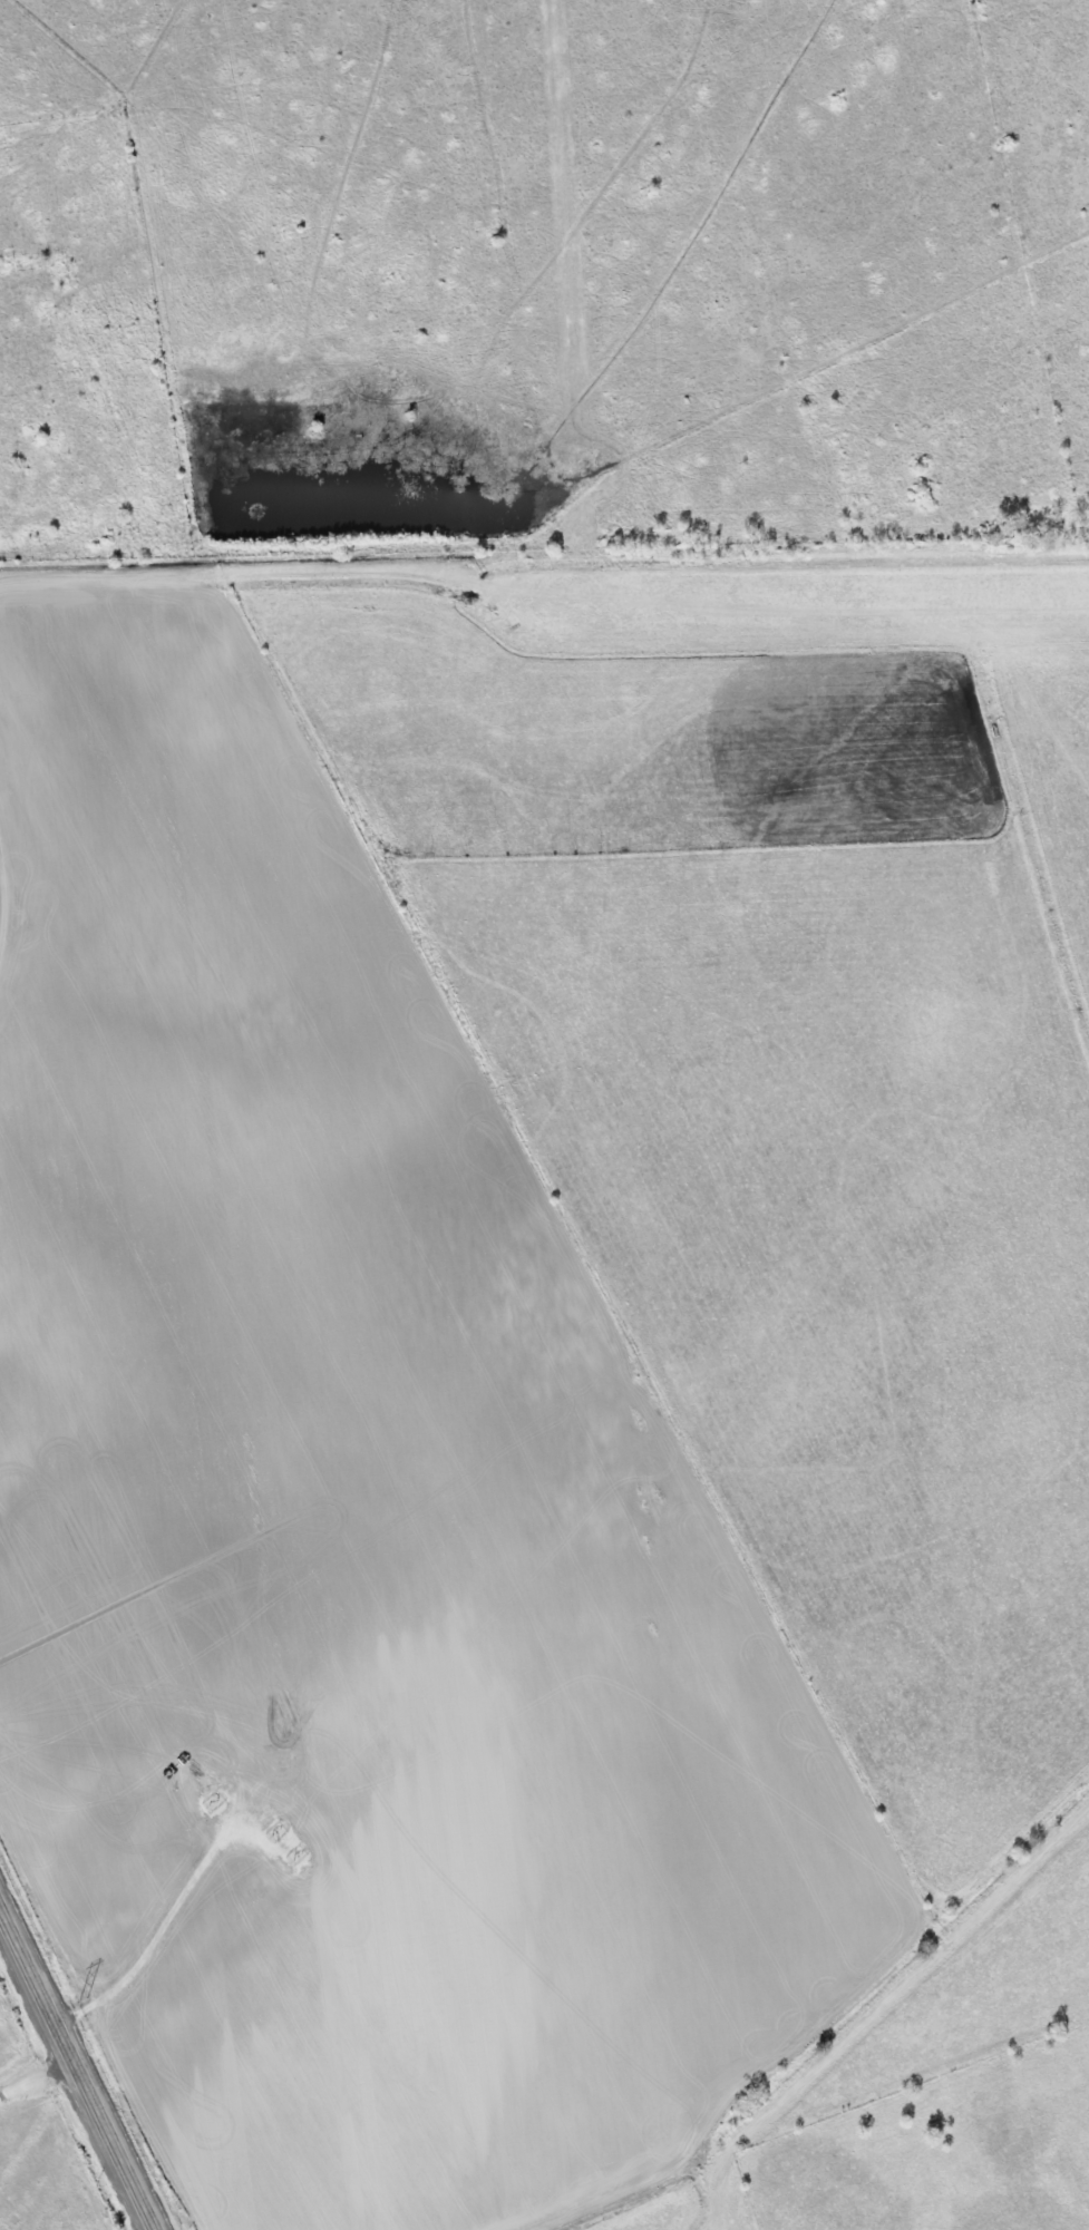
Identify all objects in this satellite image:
power tower: (82, 1998)
road: (76, 2072)

